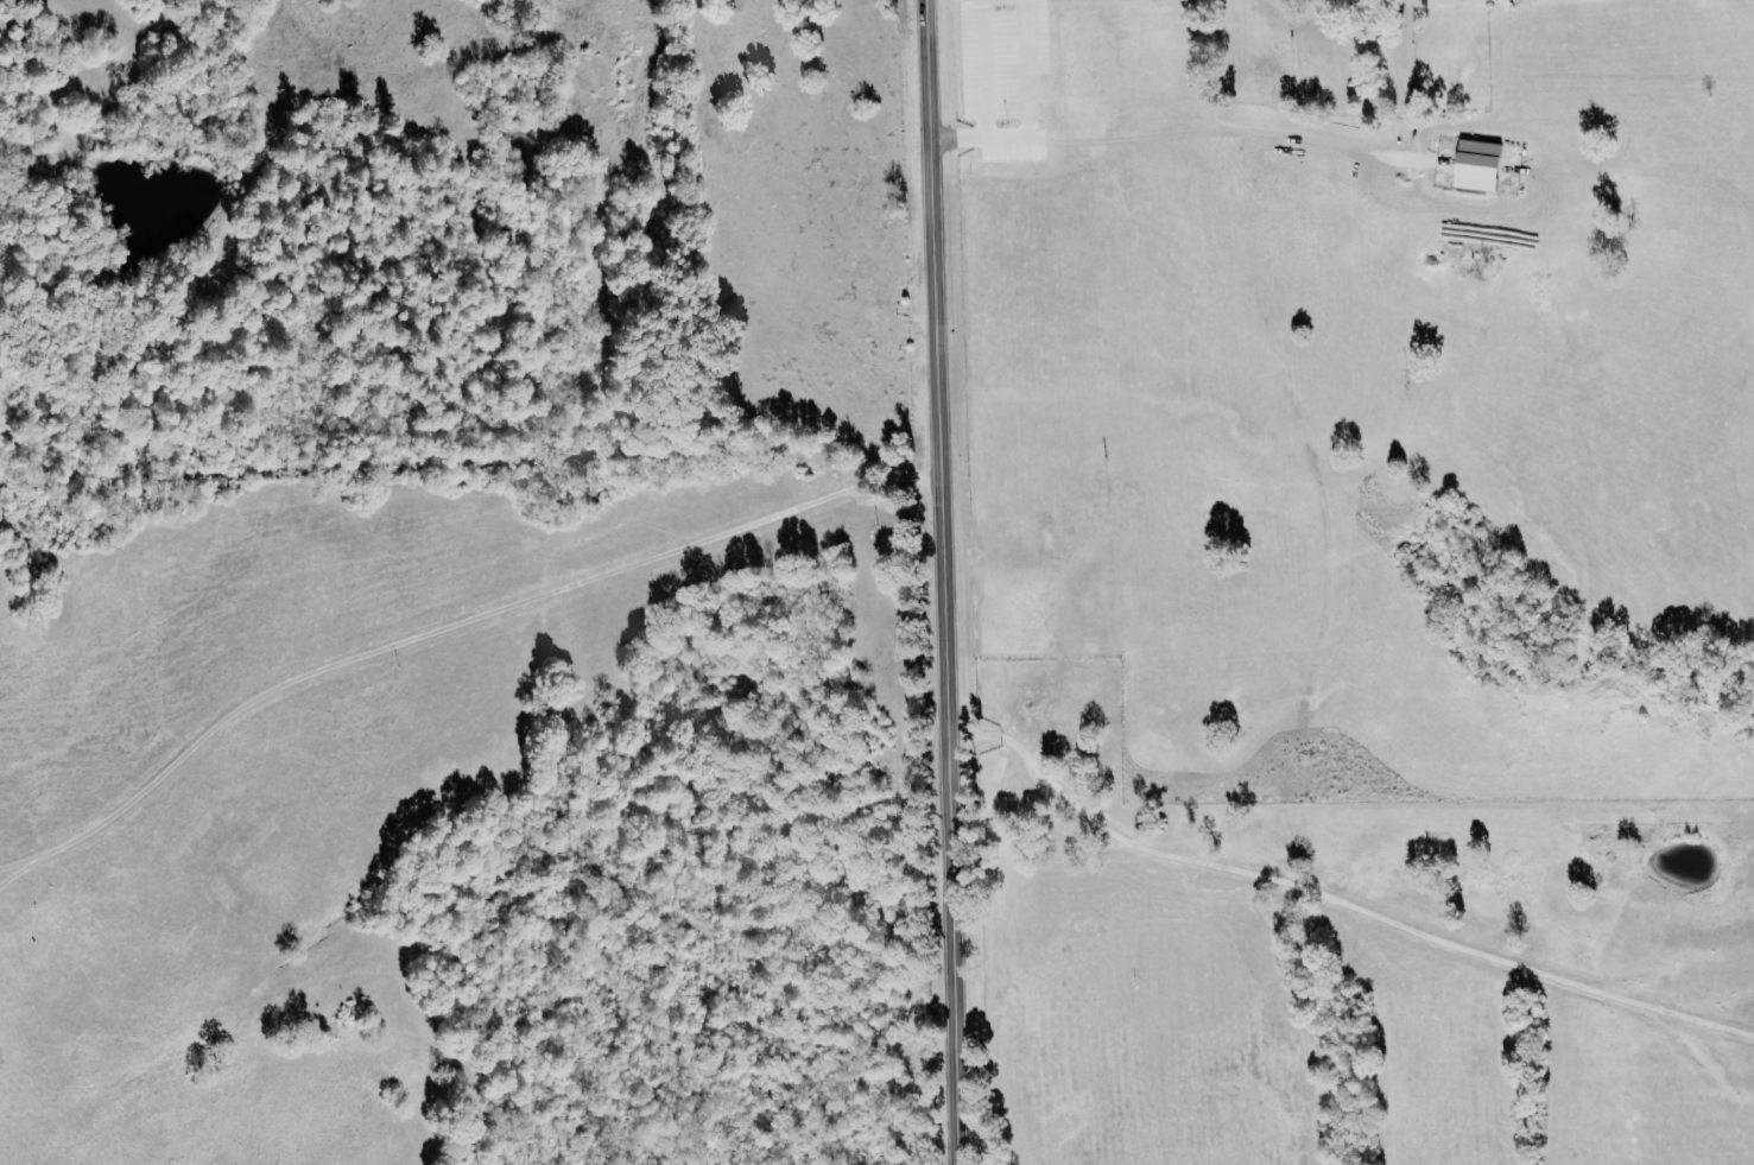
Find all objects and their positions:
building: (1484, 164)
road: (942, 582)

